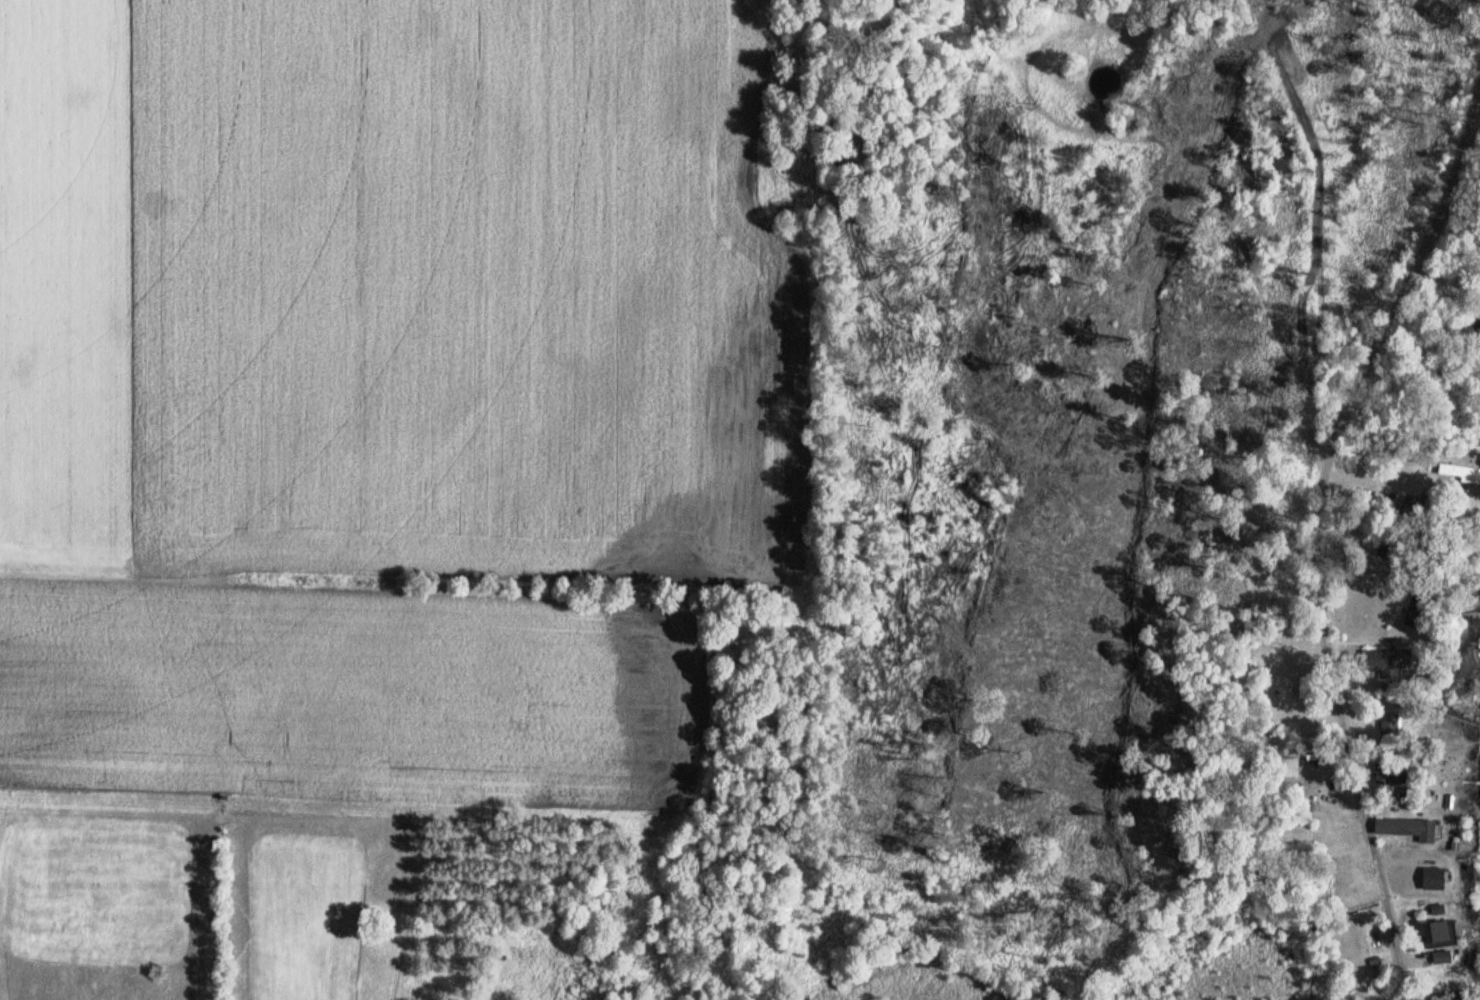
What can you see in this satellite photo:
road: (1473, 2)
building: (1477, 324)
building: (1459, 472)
building: (1425, 506)
road: (1314, 532)
building: (1388, 662)
building: (1390, 729)
building: (1290, 768)
building: (1389, 772)
building: (1407, 829)
building: (1433, 878)
building: (1436, 932)
building: (1441, 957)
building: (1448, 996)

